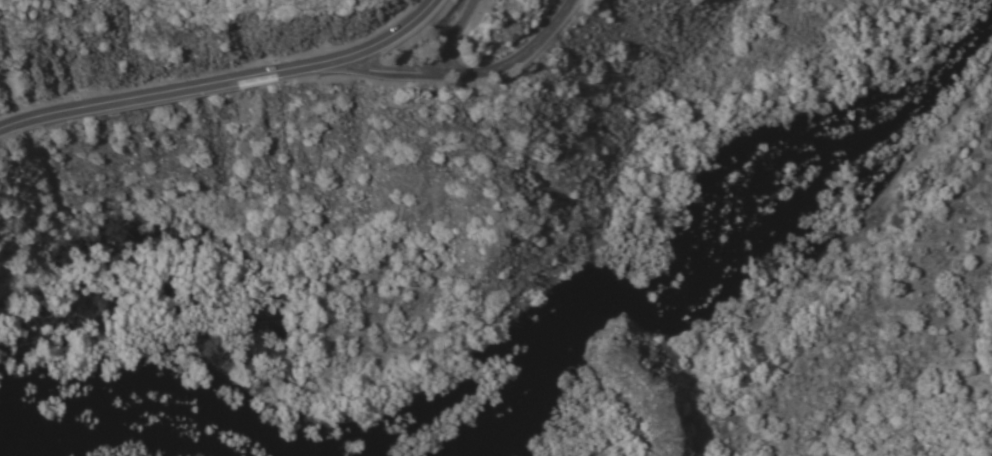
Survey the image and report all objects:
road: (454, 42)
road: (468, 71)
road: (231, 77)
river: (708, 275)
river: (71, 454)

